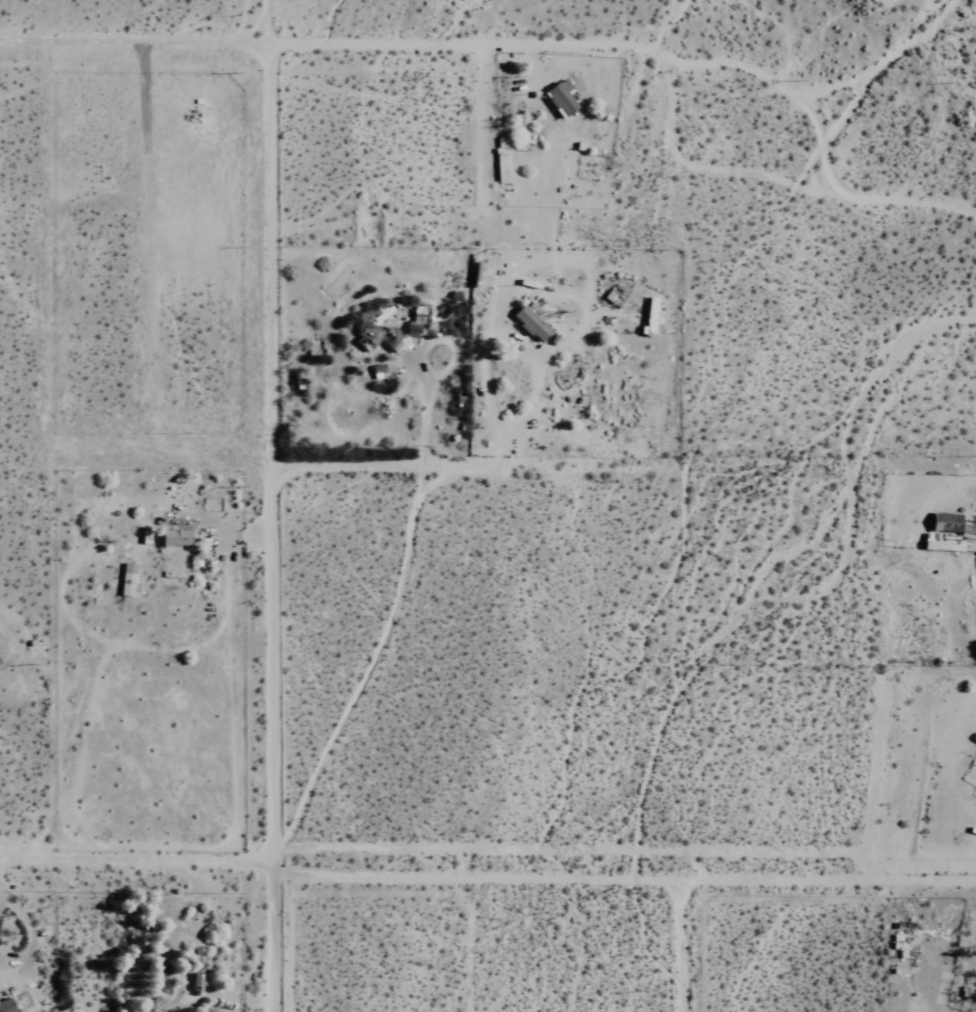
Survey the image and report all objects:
road: (340, 38)
road: (505, 356)
road: (472, 457)
road: (262, 524)
road: (488, 875)
road: (684, 891)
road: (3, 893)
road: (3, 902)
road: (31, 941)

